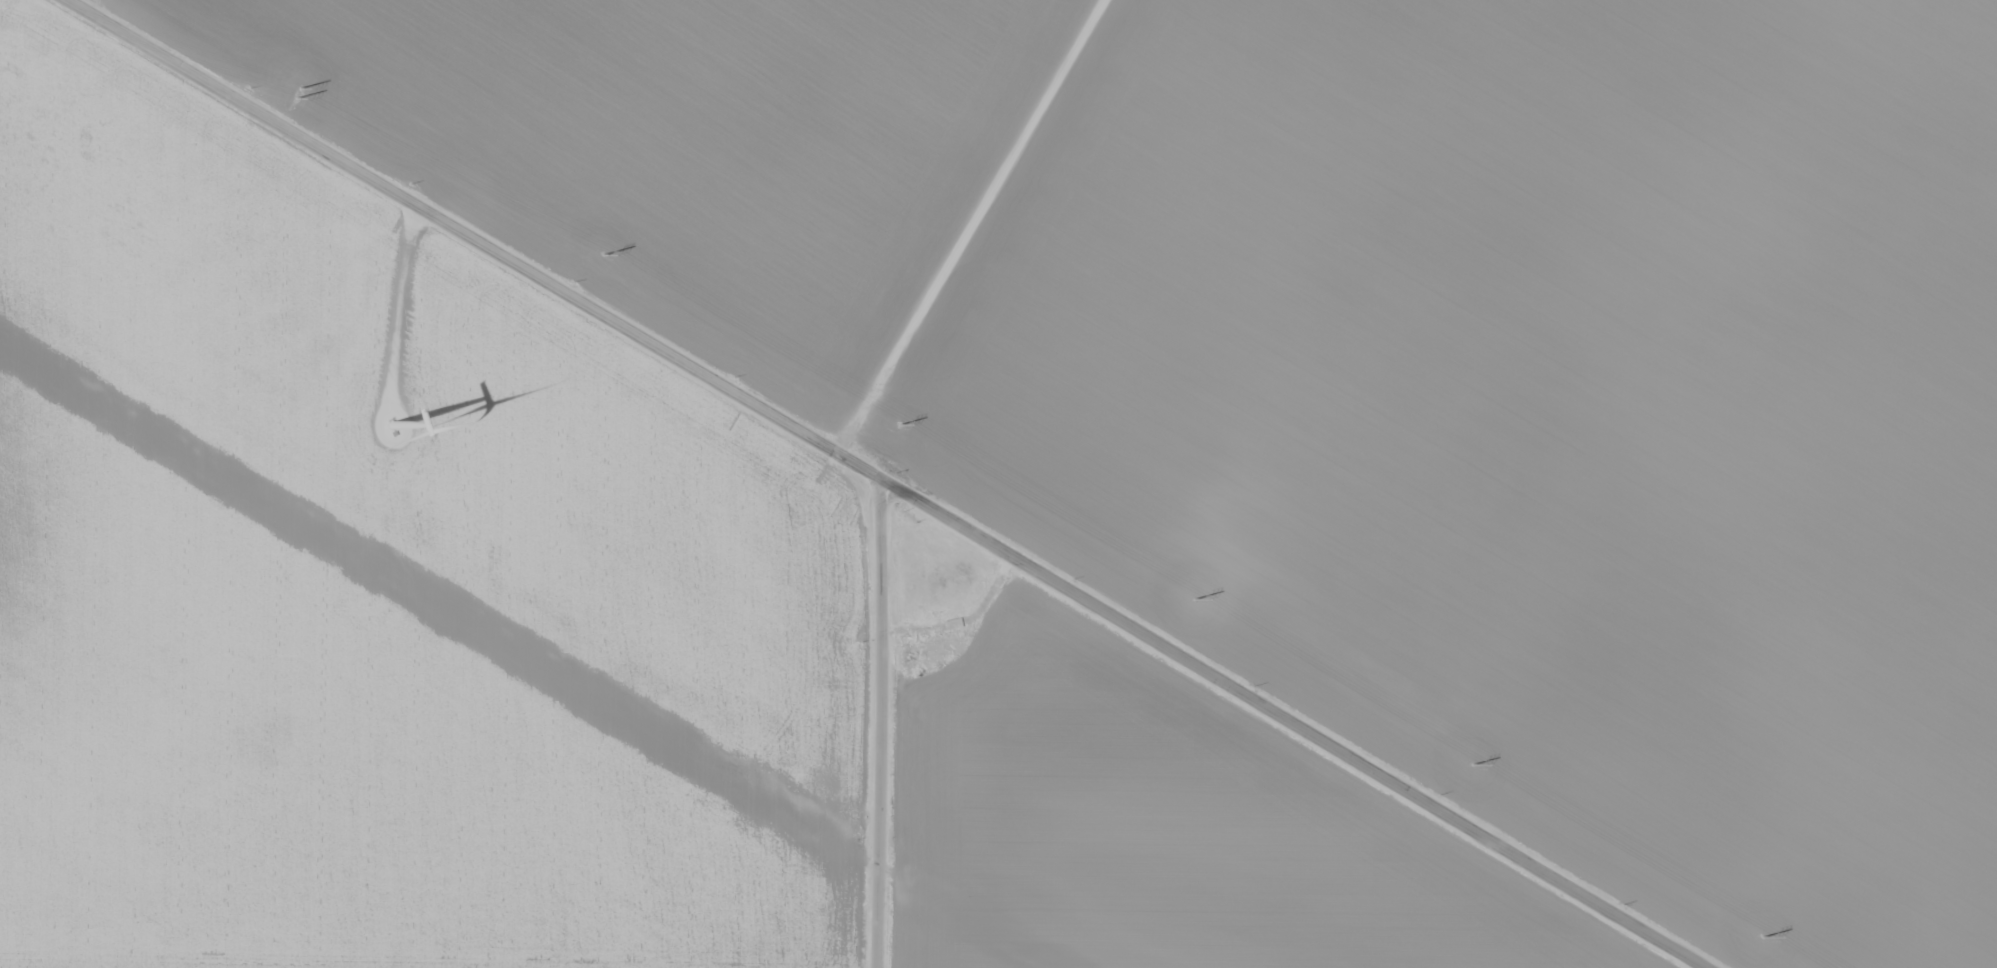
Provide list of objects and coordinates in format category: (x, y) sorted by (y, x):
power tower: (297, 91)
road: (976, 231)
power tower: (602, 253)
power tower: (899, 424)
wind turbine: (393, 429)
road: (885, 483)
road: (890, 504)
power tower: (1193, 598)
building: (944, 645)
road: (874, 709)
power tower: (1471, 764)
power tower: (1763, 937)

